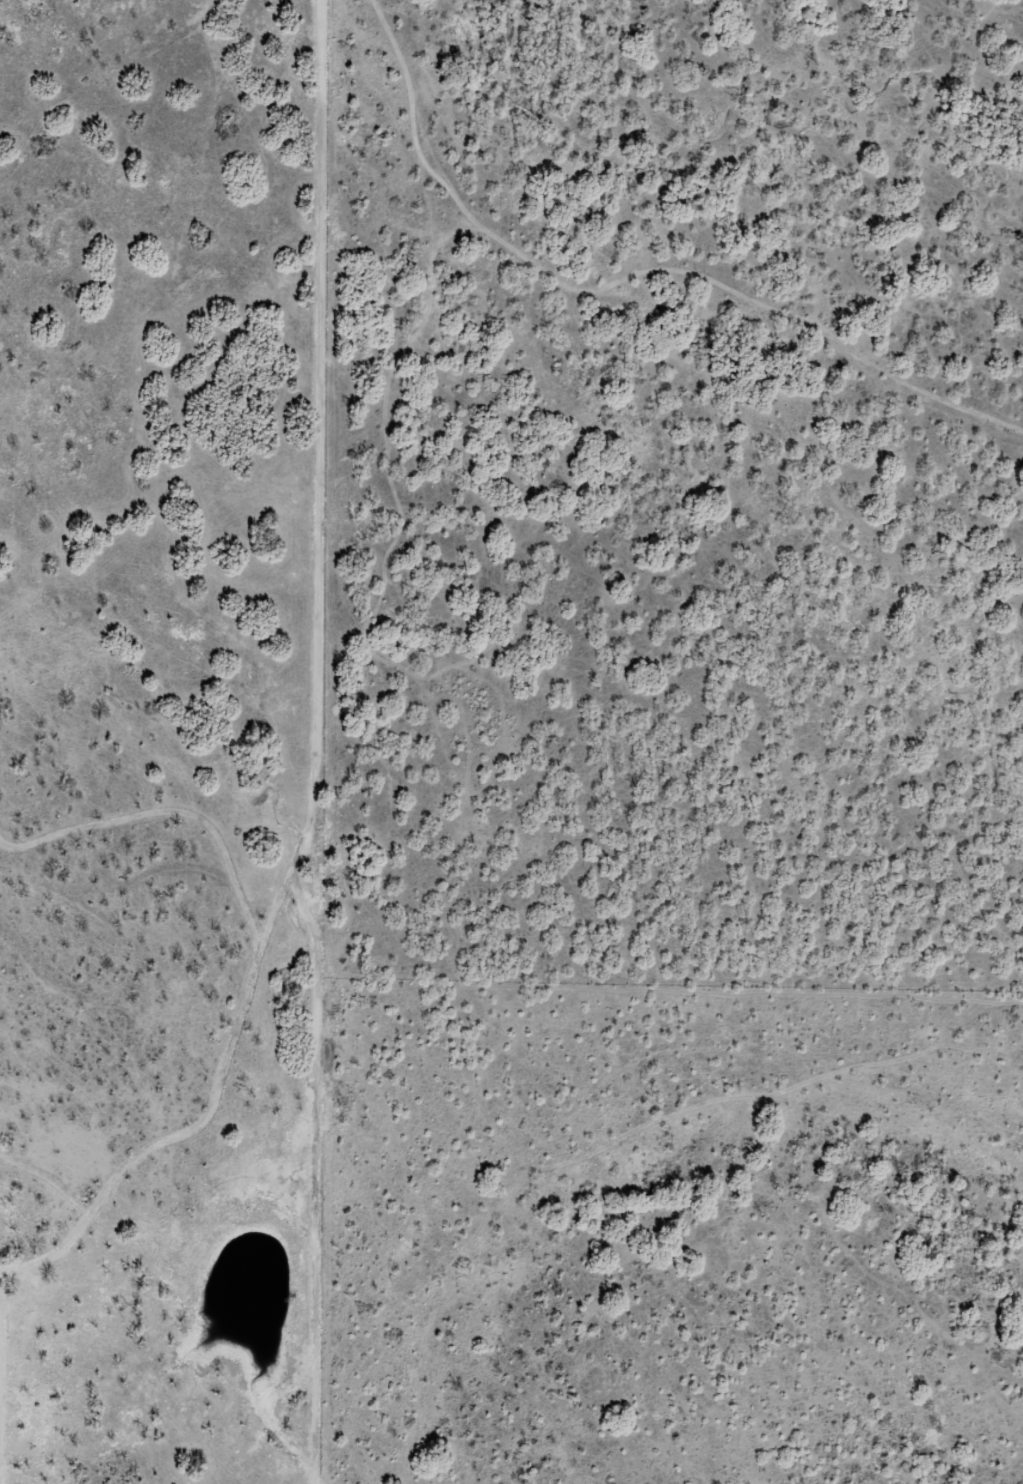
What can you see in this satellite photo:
road: (670, 289)

